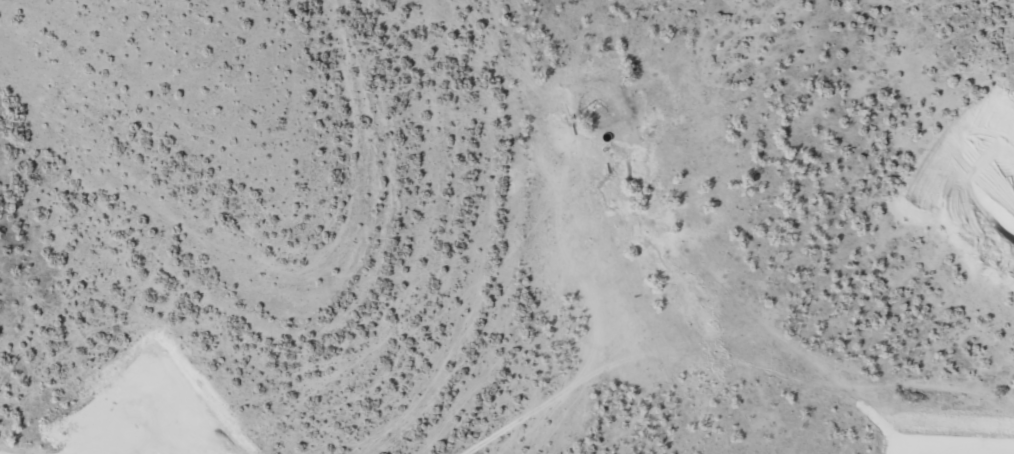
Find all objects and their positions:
road: (624, 219)
road: (521, 357)

